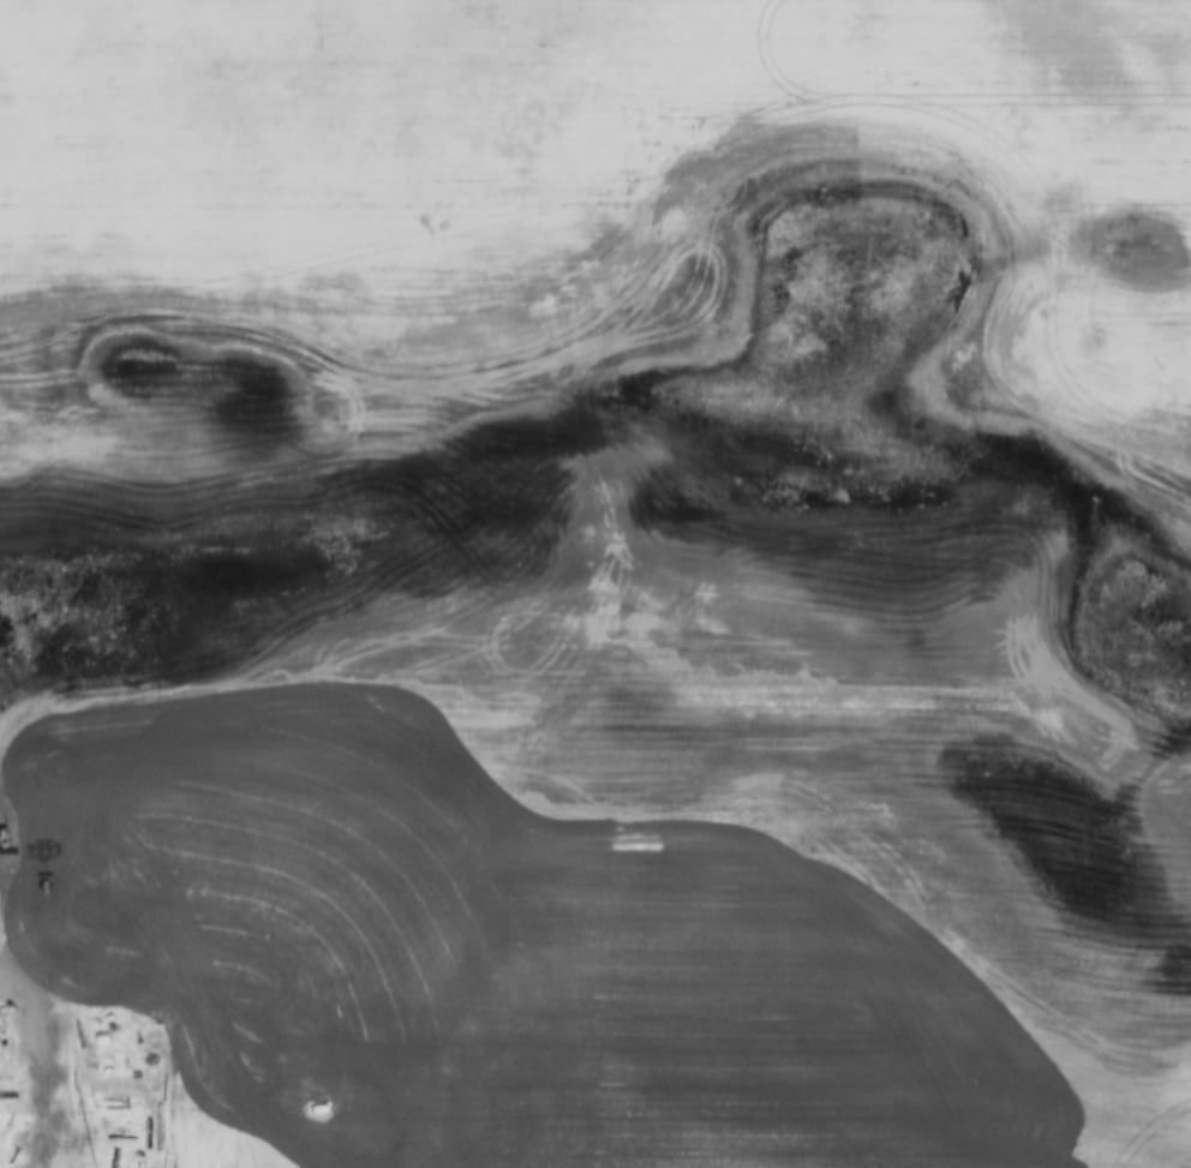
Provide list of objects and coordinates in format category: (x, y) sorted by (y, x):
crop: (556, 394)
road: (8, 1090)

